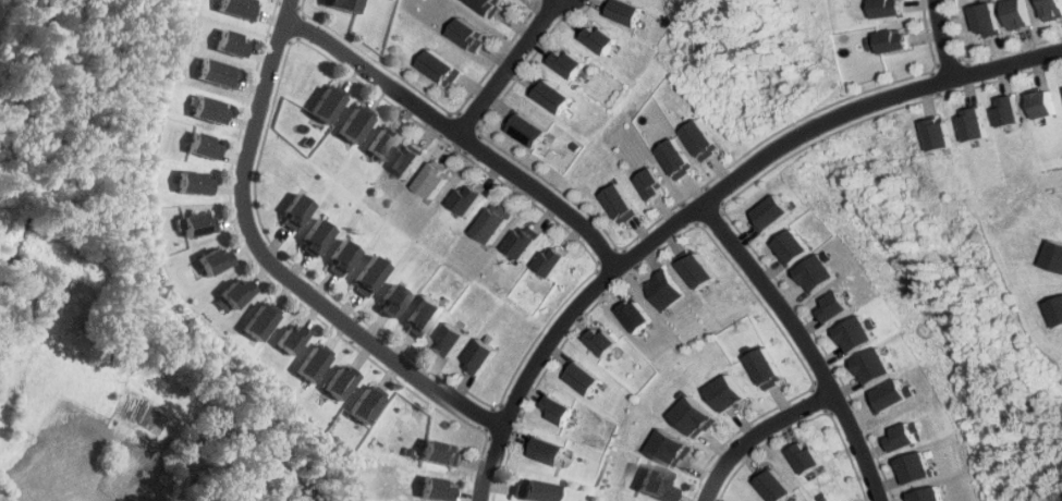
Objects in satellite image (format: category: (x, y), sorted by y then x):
building: (343, 4)
building: (489, 5)
building: (236, 8)
building: (891, 8)
building: (1051, 9)
building: (624, 11)
building: (1017, 13)
building: (986, 19)
building: (468, 34)
building: (598, 38)
building: (895, 40)
road: (945, 40)
building: (228, 42)
building: (564, 62)
road: (503, 66)
building: (441, 68)
building: (215, 72)
building: (549, 96)
building: (1043, 103)
building: (326, 105)
building: (206, 109)
building: (1012, 111)
building: (353, 124)
building: (978, 124)
building: (524, 129)
building: (944, 134)
road: (455, 136)
building: (706, 139)
building: (382, 140)
building: (198, 145)
building: (680, 158)
building: (407, 159)
building: (434, 179)
building: (188, 181)
building: (656, 184)
building: (467, 198)
road: (707, 201)
building: (621, 203)
building: (292, 212)
building: (774, 212)
building: (193, 222)
building: (489, 224)
building: (314, 235)
building: (520, 241)
building: (794, 246)
building: (1057, 255)
building: (340, 258)
building: (209, 259)
building: (550, 261)
road: (267, 265)
building: (704, 269)
building: (818, 273)
building: (369, 274)
building: (671, 290)
building: (230, 292)
building: (393, 300)
building: (837, 306)
building: (1059, 308)
building: (424, 315)
building: (642, 315)
building: (257, 319)
building: (857, 334)
building: (291, 339)
building: (449, 340)
building: (607, 341)
road: (804, 345)
building: (478, 357)
building: (314, 363)
building: (876, 366)
building: (767, 368)
building: (586, 377)
building: (344, 381)
building: (730, 393)
building: (893, 394)
building: (370, 405)
building: (560, 410)
building: (697, 417)
road: (758, 435)
building: (906, 436)
building: (674, 448)
building: (546, 450)
building: (442, 453)
building: (806, 457)
building: (917, 466)
building: (651, 482)
building: (773, 484)
building: (436, 488)
building: (536, 490)
building: (928, 494)

